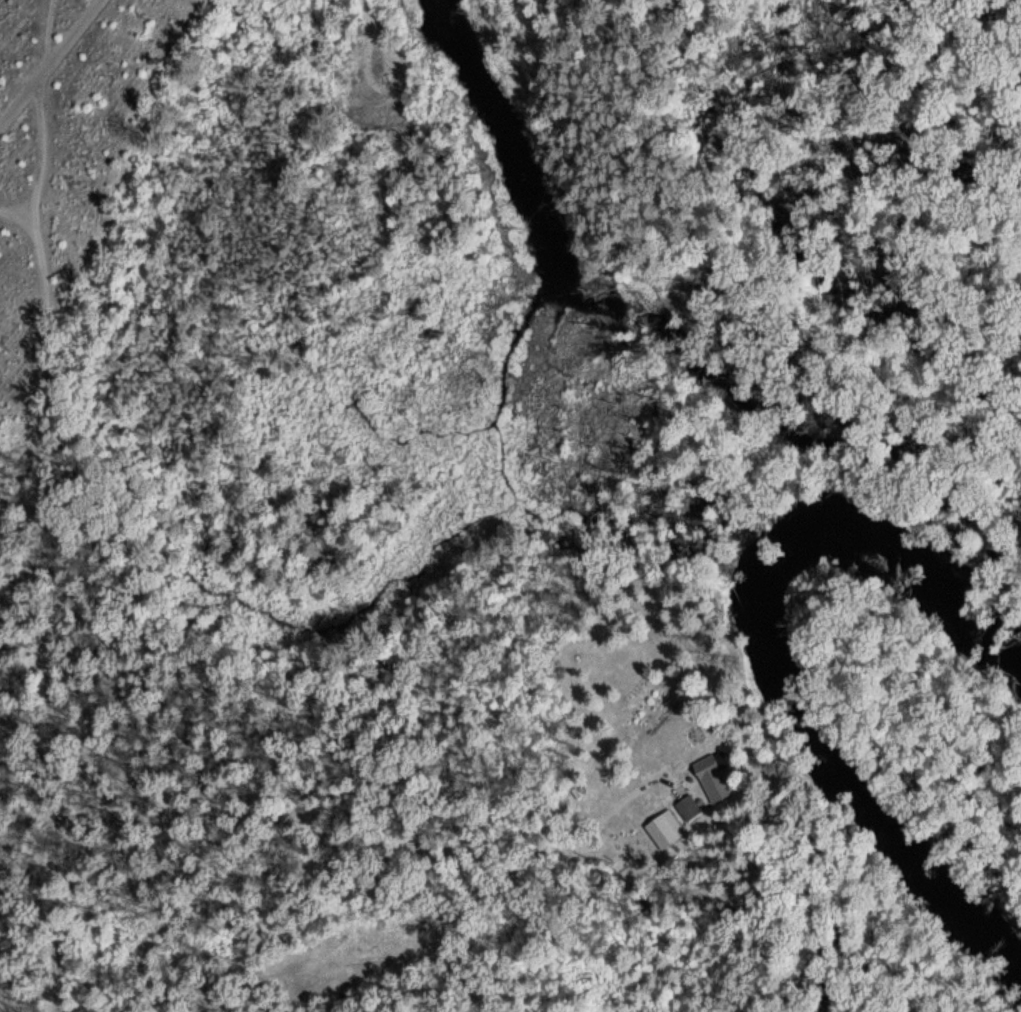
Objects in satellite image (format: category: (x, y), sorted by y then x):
road: (368, 3)
road: (46, 64)
road: (24, 208)
road: (45, 536)
river: (766, 664)
building: (709, 763)
road: (261, 997)

